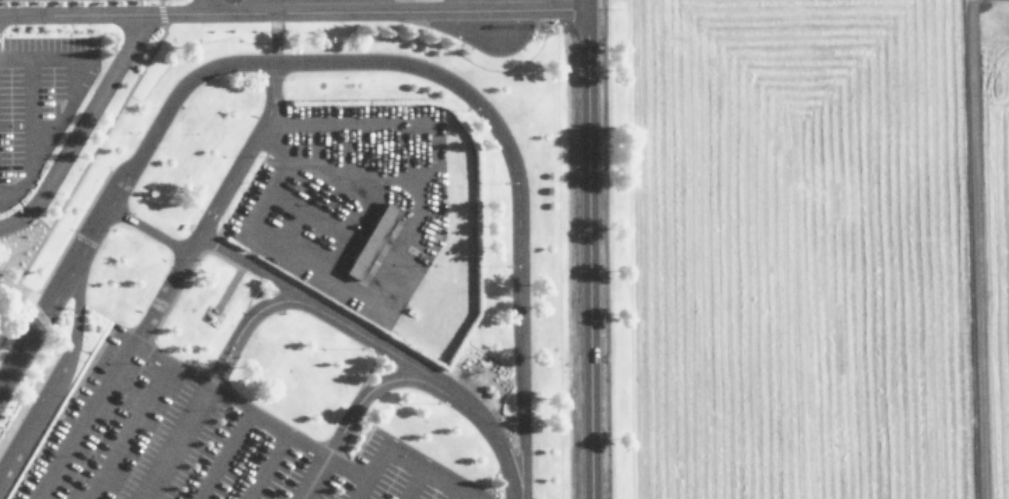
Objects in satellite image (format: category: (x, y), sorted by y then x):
road: (202, 7)
road: (376, 15)
road: (83, 17)
road: (357, 61)
parking lot: (37, 104)
road: (67, 106)
road: (30, 116)
road: (84, 123)
parking lot: (349, 204)
road: (213, 205)
road: (147, 229)
building: (374, 240)
crop: (815, 248)
airport: (504, 249)
road: (589, 249)
road: (978, 249)
road: (255, 267)
road: (374, 341)
road: (57, 378)
road: (378, 381)
road: (134, 413)
road: (83, 421)
road: (286, 432)
parking lot: (197, 440)
road: (175, 442)
road: (404, 453)
road: (223, 454)
road: (267, 466)
road: (313, 477)
road: (410, 481)
road: (454, 492)

